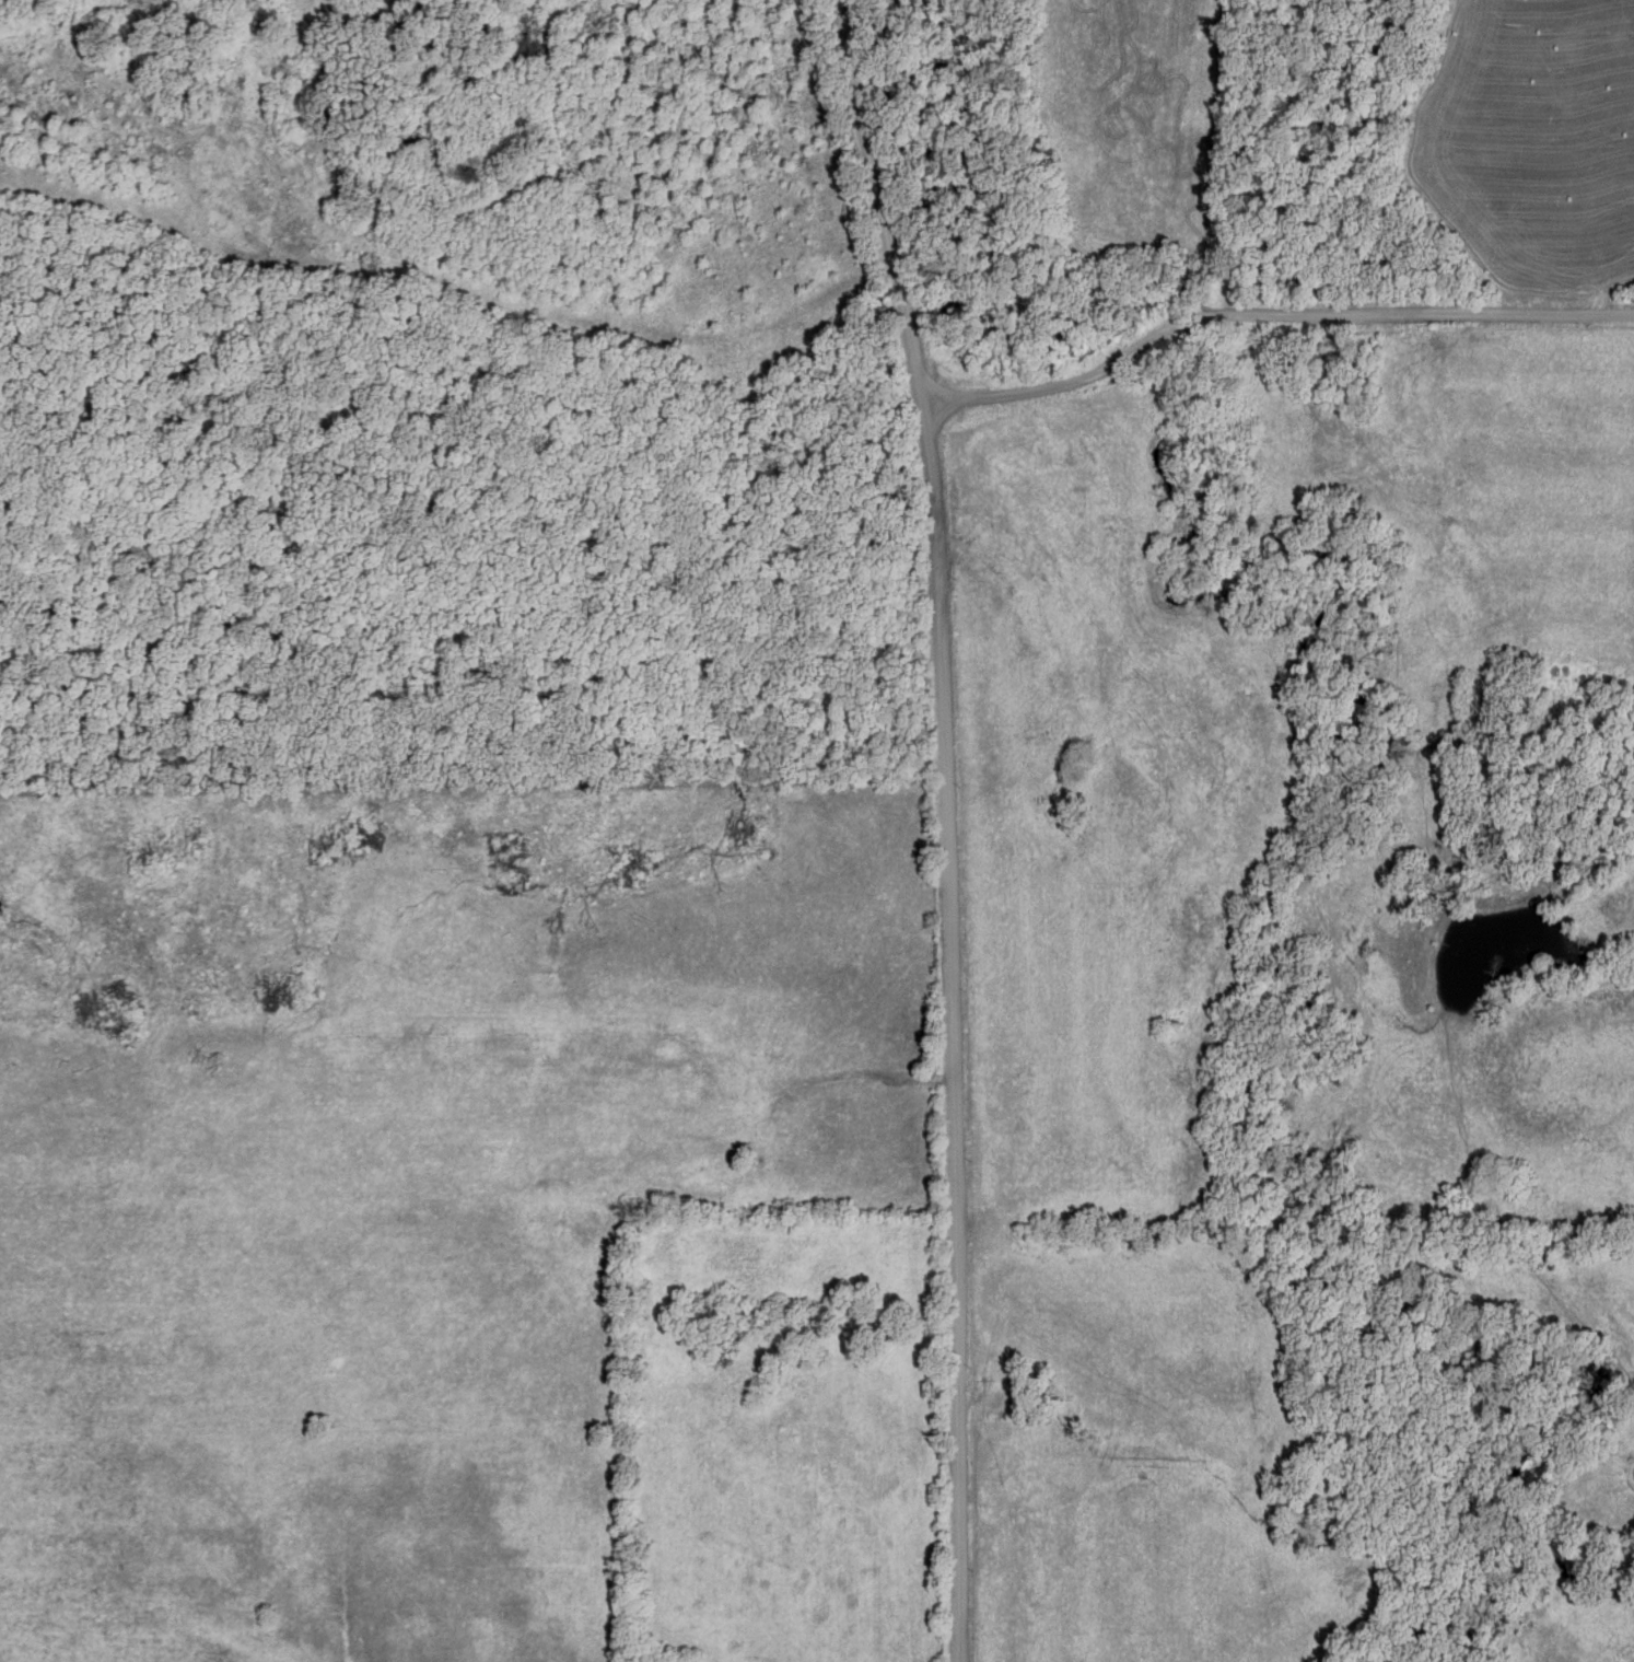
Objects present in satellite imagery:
road: (1269, 315)
road: (946, 824)

